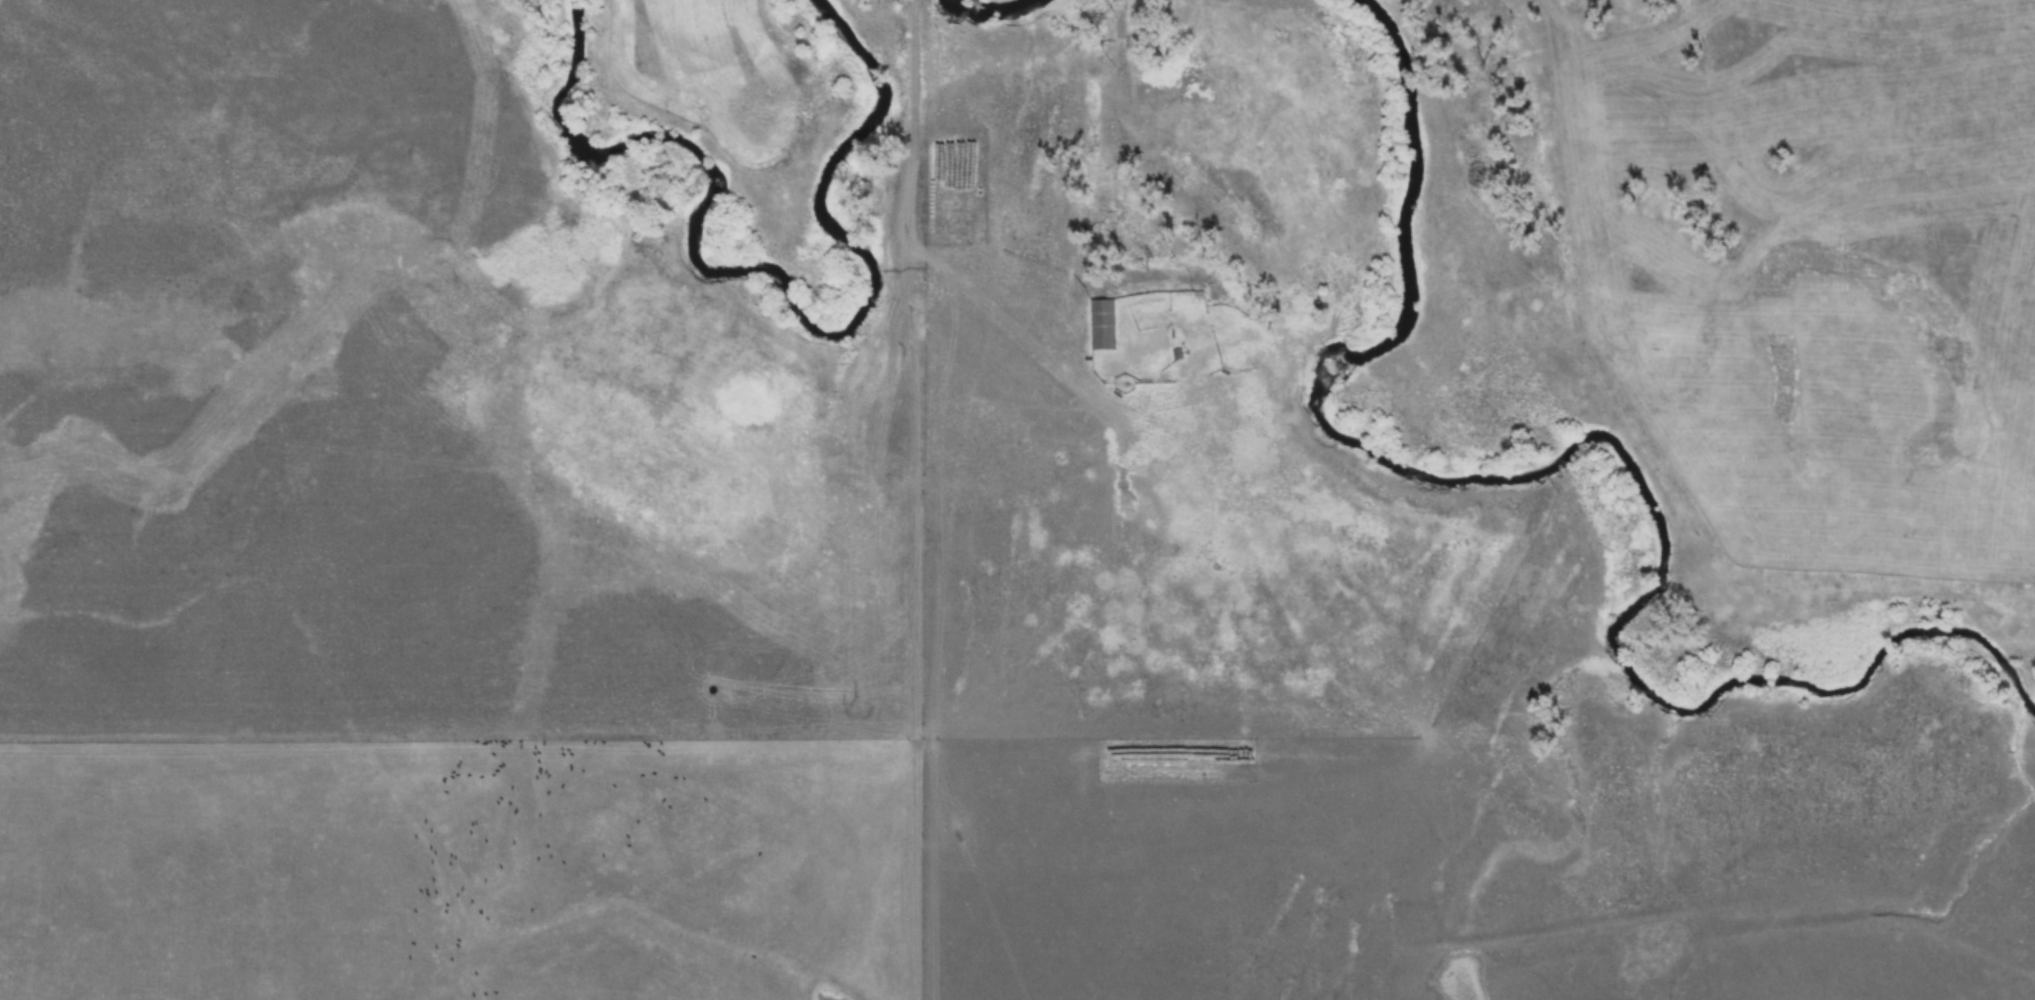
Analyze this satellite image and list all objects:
crop: (707, 63)
road: (906, 118)
building: (1095, 317)

